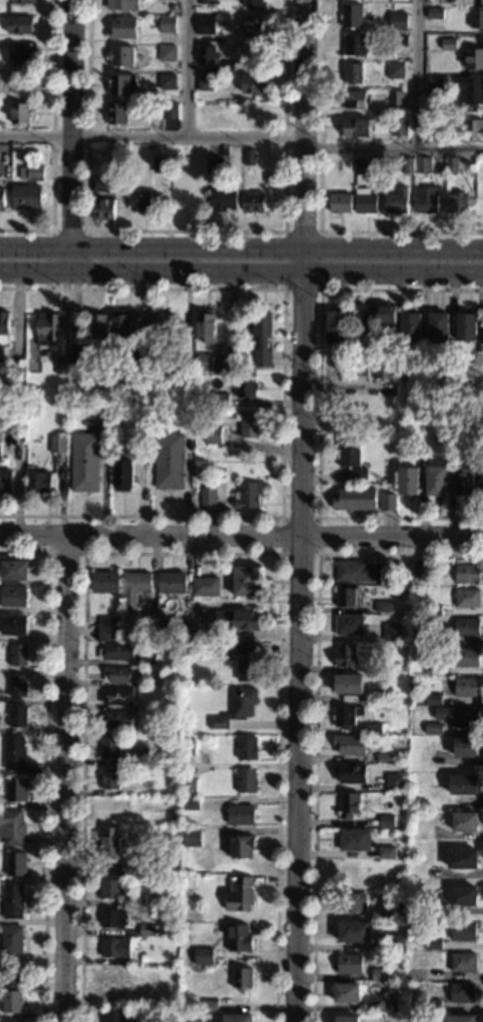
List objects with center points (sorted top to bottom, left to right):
building: (24, 2)
building: (253, 4)
building: (122, 5)
building: (172, 7)
building: (434, 13)
building: (350, 15)
building: (476, 16)
building: (396, 21)
building: (166, 24)
building: (19, 25)
building: (205, 25)
building: (252, 27)
building: (123, 28)
building: (398, 40)
building: (447, 44)
building: (354, 45)
building: (166, 53)
building: (205, 54)
building: (120, 55)
building: (19, 56)
building: (472, 59)
building: (226, 67)
road: (186, 68)
building: (394, 70)
building: (351, 73)
road: (417, 74)
building: (166, 82)
building: (204, 82)
building: (252, 83)
building: (122, 84)
building: (433, 85)
building: (469, 93)
building: (354, 99)
building: (395, 99)
building: (169, 111)
building: (201, 111)
building: (19, 113)
building: (254, 113)
building: (116, 114)
building: (430, 124)
building: (398, 127)
building: (356, 128)
building: (472, 128)
road: (71, 134)
road: (150, 136)
road: (52, 140)
road: (392, 147)
building: (224, 151)
building: (249, 157)
building: (479, 164)
building: (162, 165)
building: (450, 165)
building: (214, 166)
building: (360, 166)
building: (407, 166)
building: (421, 167)
building: (31, 173)
building: (101, 183)
building: (1, 197)
building: (26, 197)
road: (318, 197)
building: (186, 198)
building: (426, 199)
building: (139, 200)
building: (223, 200)
building: (364, 201)
building: (253, 202)
building: (396, 202)
building: (340, 203)
building: (457, 203)
building: (479, 204)
building: (103, 209)
road: (185, 230)
road: (52, 241)
road: (241, 249)
road: (241, 269)
road: (318, 289)
building: (385, 313)
building: (360, 316)
building: (163, 321)
building: (4, 323)
building: (205, 325)
building: (120, 326)
building: (409, 326)
building: (336, 327)
building: (437, 327)
building: (465, 327)
building: (47, 328)
building: (96, 328)
building: (261, 339)
building: (1, 354)
building: (141, 354)
building: (76, 355)
building: (203, 362)
building: (185, 365)
building: (60, 366)
building: (337, 366)
building: (358, 368)
building: (381, 371)
building: (245, 386)
building: (482, 392)
building: (220, 401)
road: (281, 401)
road: (318, 404)
building: (387, 404)
building: (476, 404)
building: (248, 423)
building: (371, 423)
building: (212, 435)
building: (444, 436)
building: (58, 445)
building: (142, 445)
building: (0, 448)
building: (415, 450)
building: (348, 452)
building: (168, 461)
building: (84, 462)
building: (358, 473)
building: (121, 475)
building: (5, 481)
building: (38, 481)
building: (406, 481)
building: (435, 481)
building: (463, 481)
building: (482, 481)
building: (208, 496)
building: (246, 496)
building: (355, 498)
building: (386, 501)
road: (299, 510)
road: (241, 535)
road: (84, 551)
road: (181, 552)
road: (316, 552)
building: (14, 570)
building: (360, 571)
building: (419, 573)
building: (467, 573)
building: (104, 581)
building: (245, 581)
building: (172, 583)
building: (204, 586)
building: (134, 588)
building: (346, 596)
building: (14, 597)
building: (466, 598)
building: (382, 606)
building: (427, 610)
building: (150, 620)
building: (236, 620)
building: (13, 625)
building: (348, 625)
building: (106, 628)
building: (466, 628)
building: (390, 632)
building: (413, 639)
building: (433, 639)
building: (403, 647)
building: (244, 648)
building: (116, 651)
building: (18, 655)
building: (345, 656)
building: (466, 657)
building: (147, 659)
building: (152, 669)
building: (245, 669)
building: (432, 669)
building: (119, 675)
building: (348, 684)
building: (18, 685)
building: (465, 687)
building: (117, 696)
building: (432, 699)
building: (242, 701)
road: (314, 704)
building: (457, 715)
building: (17, 716)
building: (346, 716)
building: (117, 720)
building: (217, 723)
building: (372, 729)
building: (432, 729)
building: (186, 745)
building: (350, 745)
building: (110, 747)
building: (246, 748)
building: (465, 748)
building: (13, 752)
building: (140, 756)
building: (384, 758)
road: (45, 763)
building: (351, 773)
road: (65, 778)
building: (109, 778)
building: (245, 780)
building: (392, 782)
building: (463, 784)
building: (189, 785)
building: (175, 786)
building: (15, 790)
building: (190, 803)
building: (348, 804)
building: (110, 809)
building: (240, 815)
building: (138, 818)
building: (184, 820)
building: (385, 821)
building: (464, 822)
building: (12, 826)
building: (191, 836)
building: (353, 840)
building: (109, 842)
building: (241, 846)
building: (185, 851)
building: (385, 852)
building: (462, 859)
building: (15, 864)
building: (161, 867)
building: (348, 873)
building: (114, 889)
building: (239, 895)
building: (463, 896)
building: (12, 901)
building: (140, 903)
building: (352, 903)
building: (391, 910)
building: (112, 918)
building: (146, 930)
building: (463, 931)
building: (353, 932)
building: (237, 938)
building: (11, 939)
building: (394, 942)
building: (432, 944)
building: (114, 948)
building: (202, 956)
building: (143, 958)
building: (462, 962)
building: (349, 964)
building: (9, 972)
building: (433, 974)
building: (379, 975)
building: (112, 977)
building: (241, 977)
building: (461, 992)
building: (346, 993)
building: (135, 997)
building: (11, 1002)
building: (168, 1003)
building: (389, 1003)
building: (209, 1005)
building: (432, 1005)
building: (111, 1015)
building: (154, 1018)
building: (236, 1018)
building: (346, 1018)
building: (460, 1018)
building: (12, 1021)

